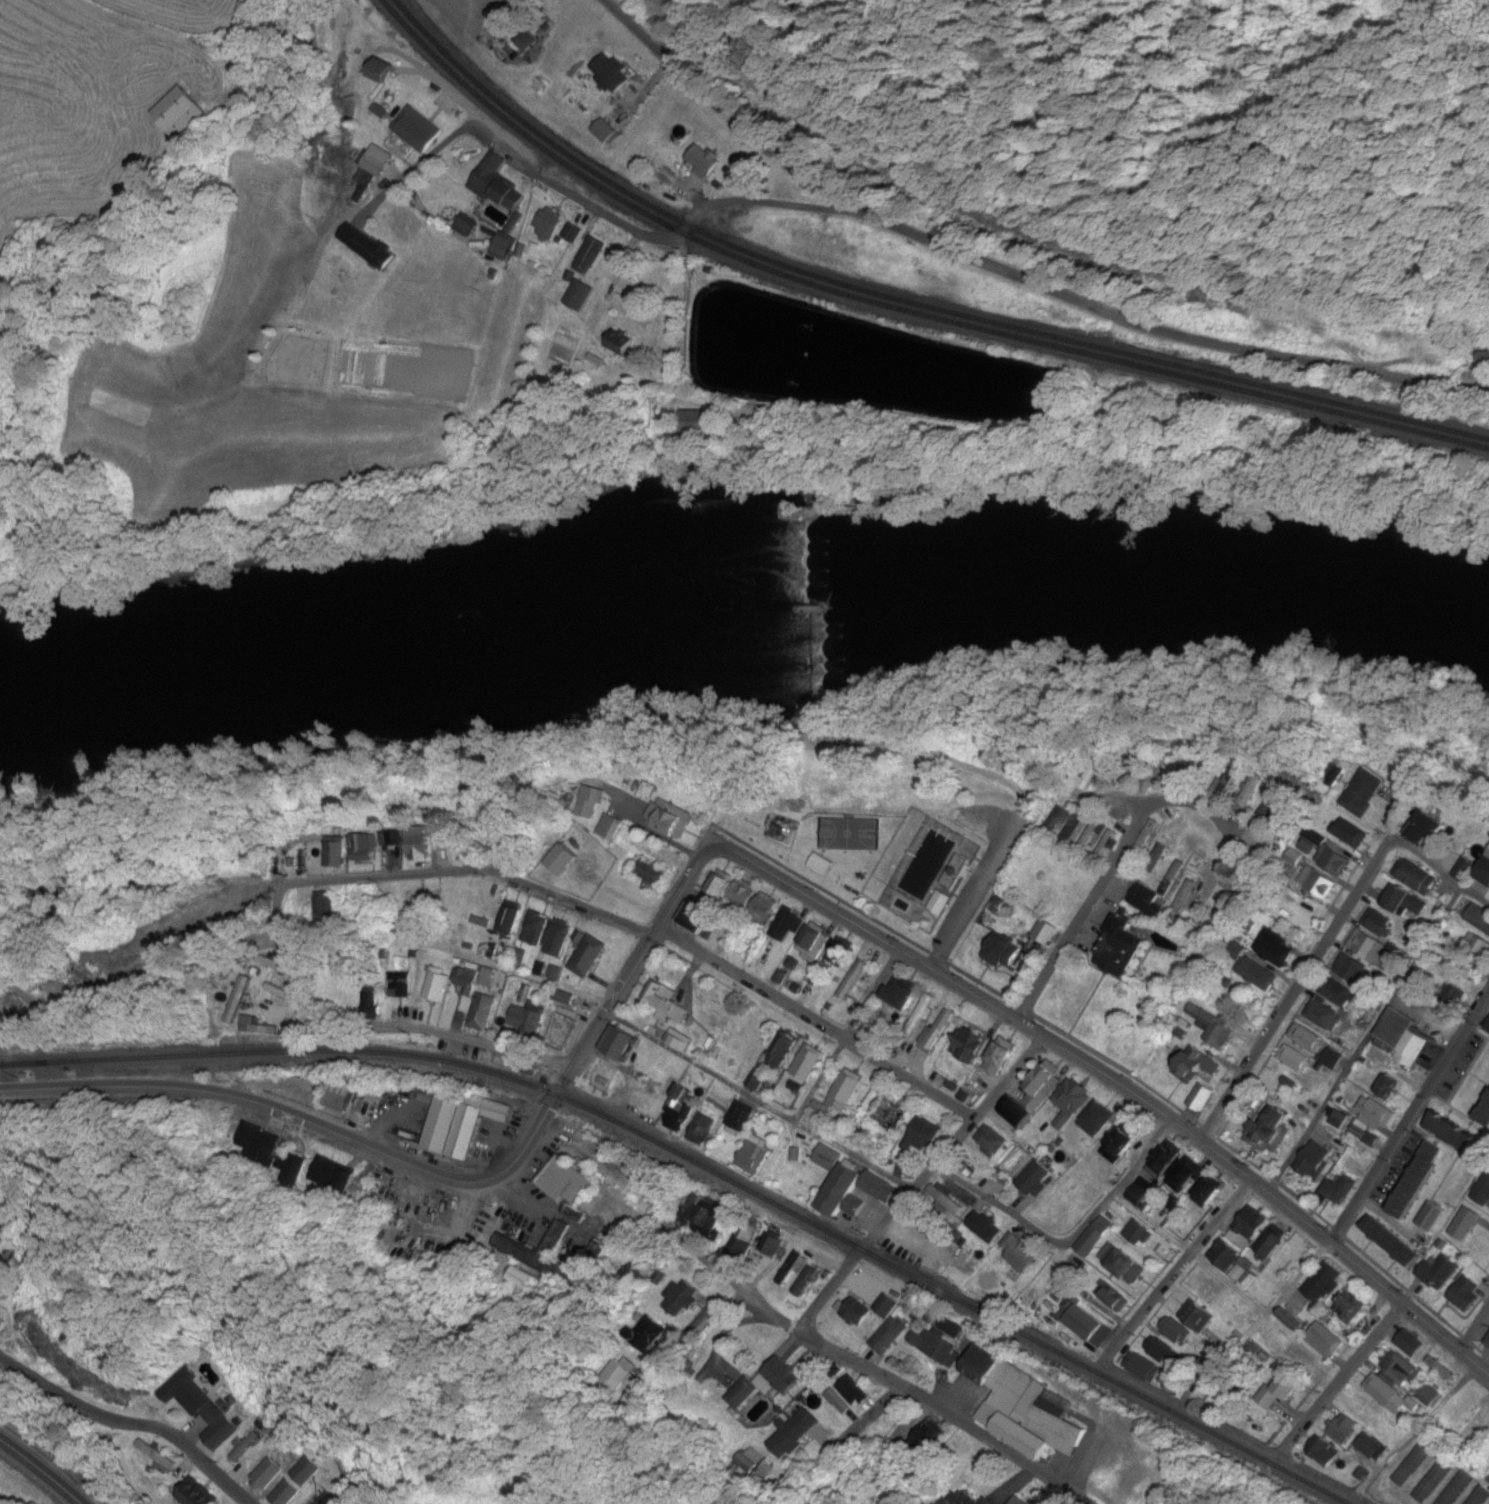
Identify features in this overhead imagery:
building: (546, 29)
building: (527, 41)
building: (381, 71)
building: (613, 73)
building: (418, 129)
building: (704, 160)
building: (377, 161)
building: (497, 184)
road: (588, 207)
building: (549, 224)
building: (573, 232)
building: (504, 247)
road: (1011, 253)
building: (589, 255)
building: (579, 295)
railway: (904, 299)
railway: (897, 308)
building: (621, 344)
building: (704, 422)
dam: (806, 607)
river: (744, 620)
building: (1153, 773)
building: (1181, 776)
building: (1119, 780)
building: (1223, 786)
building: (1249, 793)
building: (1364, 793)
building: (592, 802)
road: (1148, 810)
building: (1268, 810)
building: (669, 817)
building: (1055, 819)
park: (898, 827)
building: (614, 829)
building: (1426, 829)
park: (854, 832)
building: (1090, 833)
building: (1349, 835)
building: (1146, 836)
building: (420, 843)
building: (1107, 844)
building: (337, 851)
building: (1156, 858)
building: (561, 859)
building: (1334, 860)
building: (827, 864)
building: (1465, 870)
building: (956, 872)
building: (1485, 873)
building: (652, 875)
building: (1415, 877)
building: (1318, 884)
building: (719, 886)
building: (1143, 889)
building: (1236, 890)
road: (980, 893)
building: (742, 895)
building: (1184, 895)
building: (424, 898)
building: (1401, 900)
building: (946, 903)
building: (463, 904)
building: (323, 905)
building: (764, 909)
building: (509, 919)
building: (699, 919)
building: (1377, 923)
building: (787, 926)
building: (536, 928)
building: (1045, 932)
road: (1333, 937)
building: (559, 938)
road: (677, 940)
building: (814, 945)
building: (1366, 945)
building: (1275, 948)
building: (1123, 949)
building: (1002, 953)
building: (839, 954)
building: (589, 956)
building: (275, 965)
building: (1349, 967)
building: (1258, 974)
building: (487, 977)
building: (466, 980)
building: (850, 984)
building: (402, 986)
building: (436, 986)
road: (1038, 992)
building: (1338, 992)
building: (368, 996)
building: (1454, 997)
building: (902, 998)
building: (668, 1003)
building: (232, 1004)
building: (481, 1014)
building: (921, 1014)
building: (1324, 1016)
building: (525, 1020)
road: (347, 1026)
building: (564, 1026)
building: (256, 1027)
building: (939, 1028)
building: (1214, 1029)
building: (759, 1033)
road: (847, 1036)
building: (1404, 1037)
building: (1306, 1038)
building: (680, 1041)
building: (620, 1045)
building: (968, 1045)
building: (1002, 1055)
building: (1295, 1059)
building: (1201, 1063)
railway: (17, 1065)
building: (730, 1065)
building: (809, 1065)
road: (1107, 1076)
building: (756, 1079)
building: (601, 1080)
building: (1042, 1085)
building: (1389, 1087)
building: (846, 1092)
building: (341, 1094)
building: (1201, 1098)
road: (760, 1100)
building: (1072, 1101)
building: (1018, 1111)
building: (680, 1112)
building: (1375, 1112)
building: (1485, 1114)
building: (741, 1116)
building: (890, 1118)
building: (1098, 1118)
road: (1410, 1119)
building: (813, 1120)
building: (462, 1124)
building: (704, 1125)
building: (1272, 1131)
building: (928, 1133)
building: (1454, 1133)
road: (1205, 1135)
building: (229, 1140)
building: (992, 1140)
building: (1123, 1142)
building: (262, 1146)
building: (754, 1156)
building: (829, 1157)
building: (294, 1167)
building: (1310, 1167)
railway: (702, 1169)
road: (426, 1172)
building: (329, 1174)
building: (1187, 1174)
building: (1037, 1179)
building: (1417, 1182)
road: (919, 1183)
building: (567, 1185)
building: (856, 1188)
building: (1337, 1189)
building: (1482, 1191)
building: (1208, 1193)
building: (946, 1199)
building: (701, 1214)
building: (1465, 1224)
building: (987, 1227)
road: (0, 1228)
building: (1248, 1228)
building: (1, 1230)
building: (1140, 1233)
building: (1, 1239)
building: (740, 1239)
road: (1070, 1240)
building: (1093, 1241)
building: (1393, 1242)
building: (772, 1244)
building: (1269, 1244)
building: (1021, 1253)
road: (1269, 1255)
building: (532, 1257)
building: (1125, 1263)
building: (792, 1267)
building: (1238, 1268)
building: (1440, 1272)
road: (1179, 1275)
building: (522, 1277)
building: (805, 1283)
building: (1323, 1283)
building: (1209, 1294)
building: (1466, 1295)
building: (1114, 1297)
building: (680, 1298)
building: (887, 1306)
building: (1352, 1308)
building: (855, 1311)
building: (1199, 1317)
building: (1092, 1327)
road: (694, 1330)
building: (1177, 1331)
building: (647, 1333)
building: (889, 1336)
building: (1324, 1340)
building: (1487, 1342)
building: (1410, 1343)
building: (936, 1346)
road: (1483, 1351)
building: (1161, 1352)
building: (1144, 1368)
building: (1399, 1368)
building: (1440, 1369)
building: (620, 1373)
road: (880, 1376)
building: (779, 1379)
road: (1340, 1381)
building: (853, 1391)
building: (1282, 1392)
building: (1387, 1395)
building: (1428, 1395)
building: (743, 1396)
building: (194, 1398)
building: (1025, 1407)
building: (832, 1408)
building: (1484, 1424)
road: (130, 1425)
road: (1415, 1430)
building: (1344, 1431)
building: (794, 1435)
road: (1239, 1437)
building: (928, 1441)
building: (1368, 1450)
building: (1328, 1452)
building: (751, 1459)
building: (1414, 1462)
building: (162, 1463)
road: (42, 1469)
building: (306, 1472)
building: (266, 1475)
building: (1434, 1479)
building: (1457, 1489)
building: (964, 1497)
building: (1480, 1497)
building: (1018, 1501)

